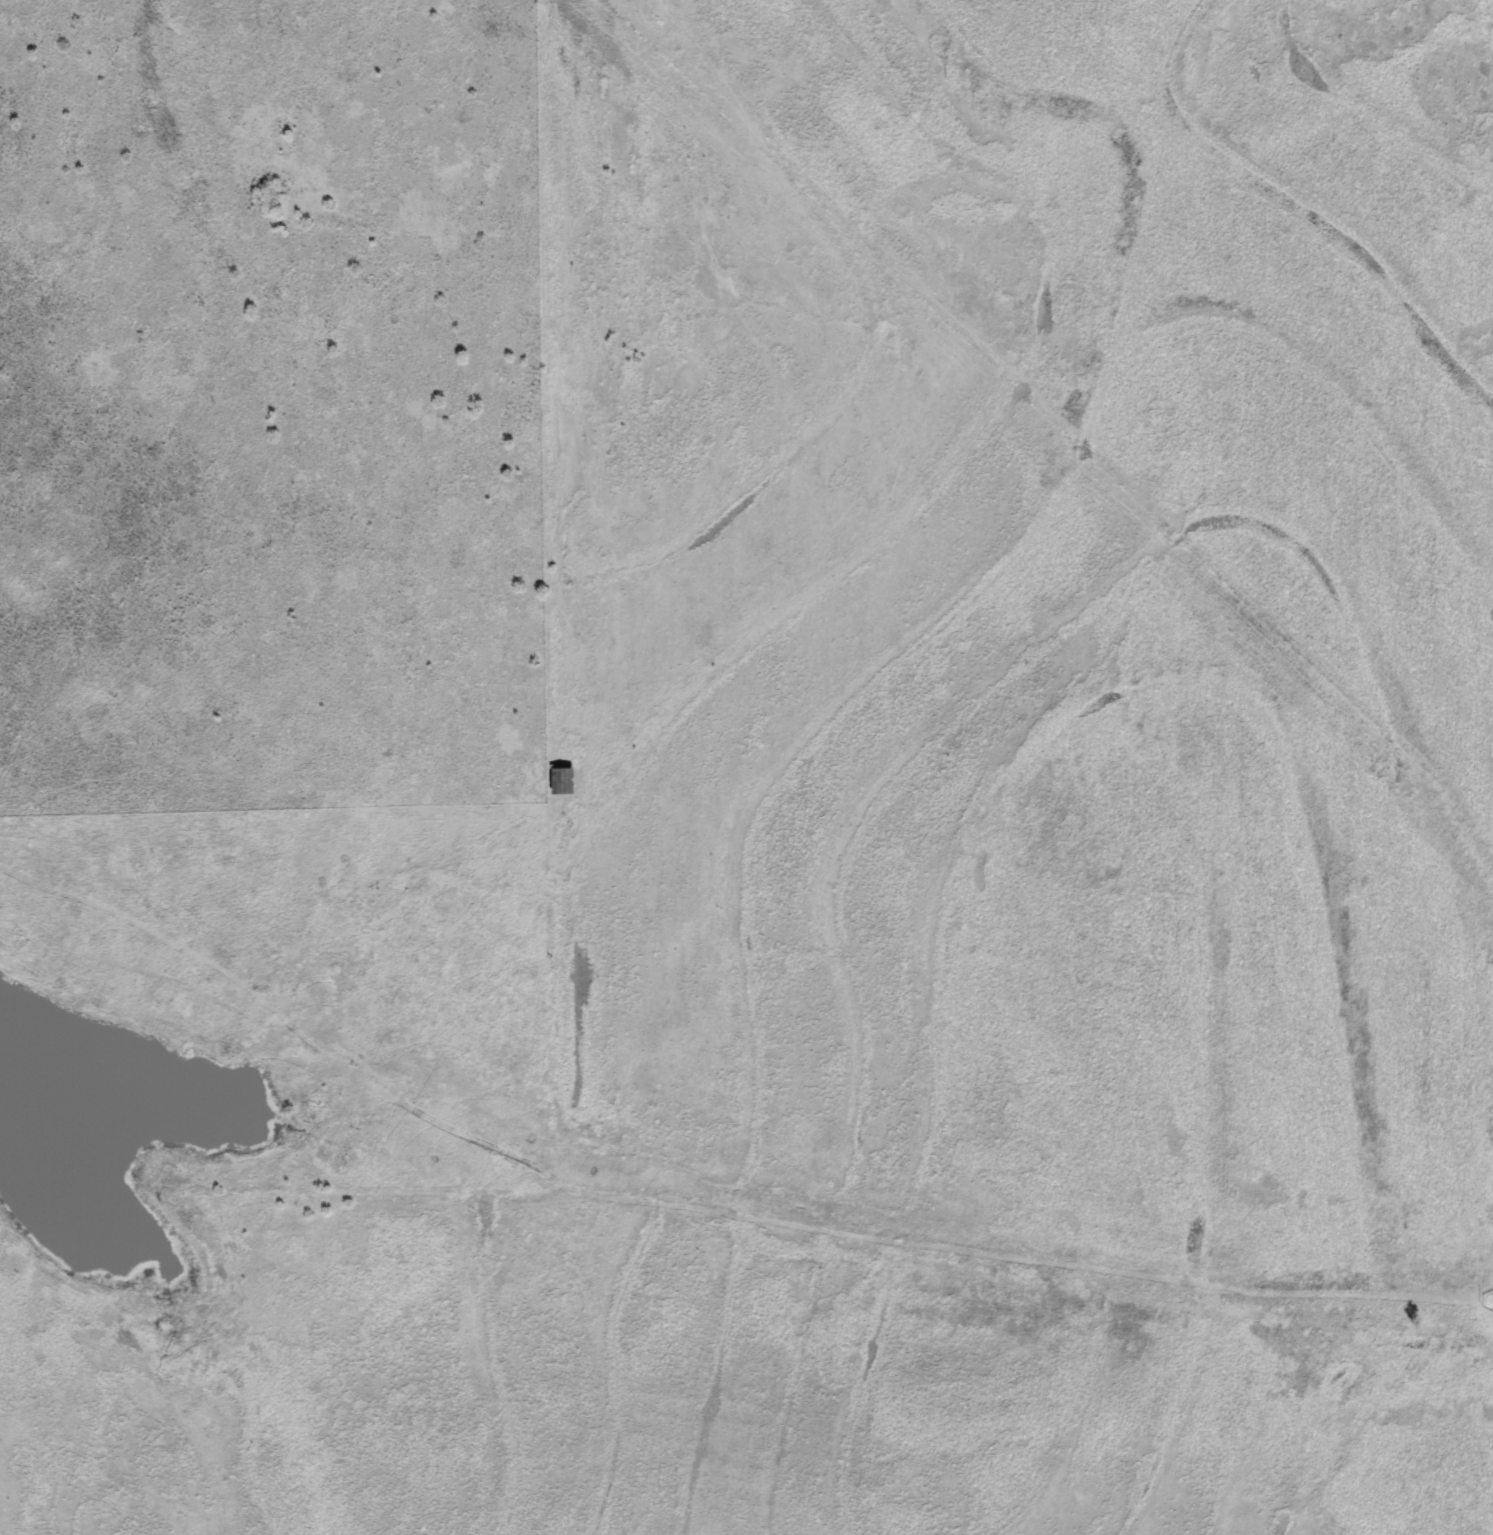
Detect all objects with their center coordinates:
building: (566, 781)

